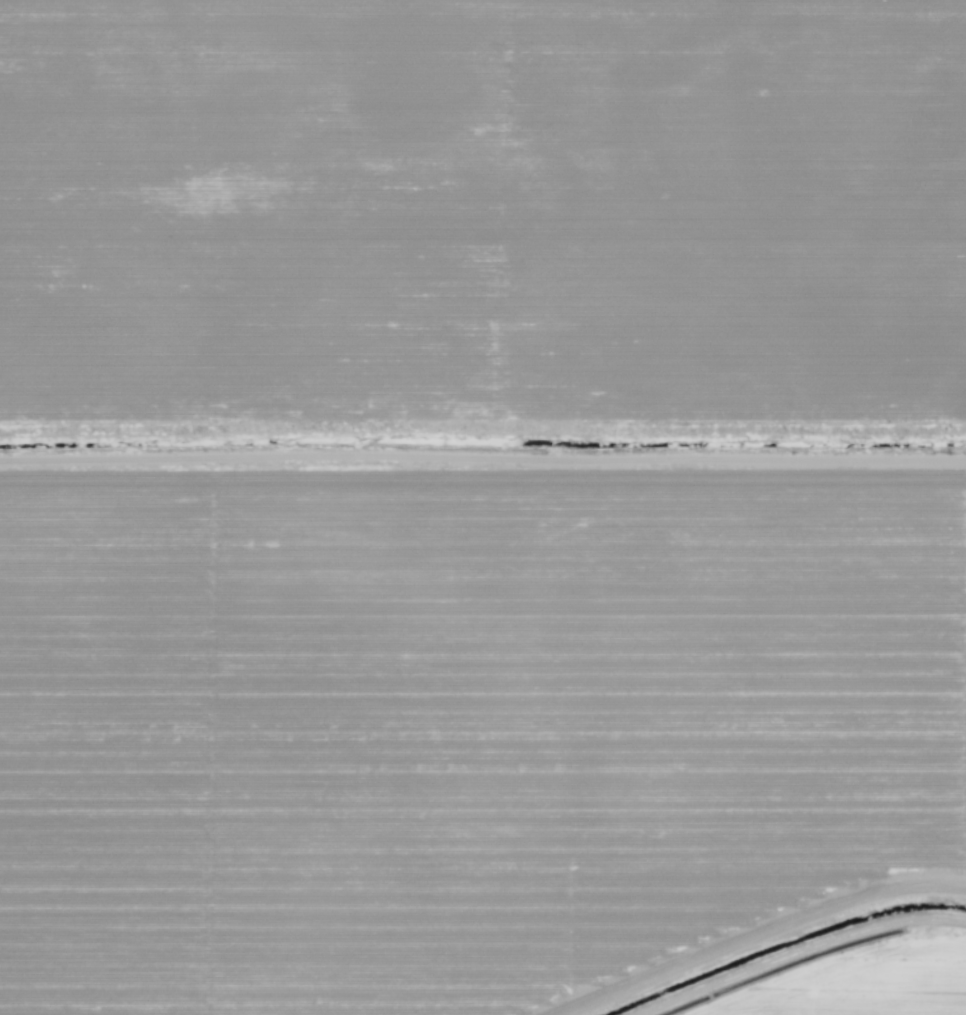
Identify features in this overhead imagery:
crop: (483, 507)

